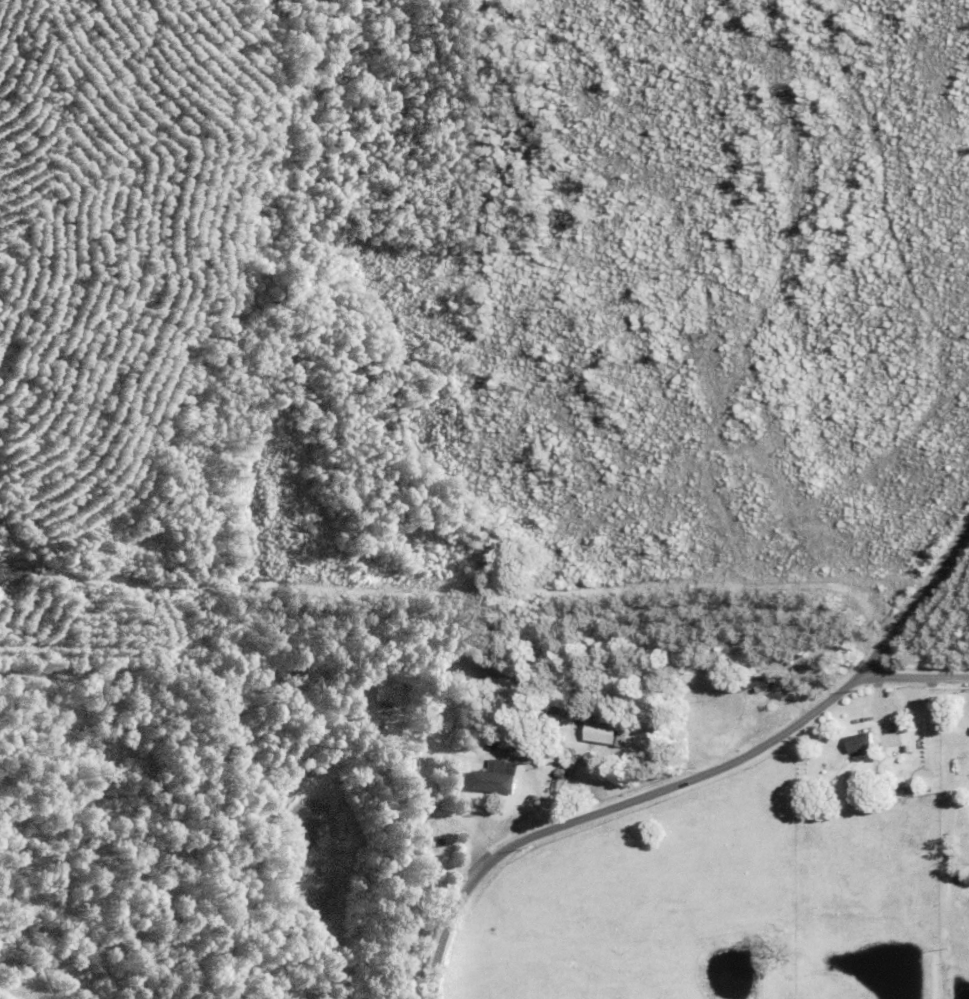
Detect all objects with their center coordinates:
road: (908, 679)
building: (756, 684)
building: (388, 694)
building: (600, 733)
building: (860, 743)
road: (693, 777)
building: (496, 778)

